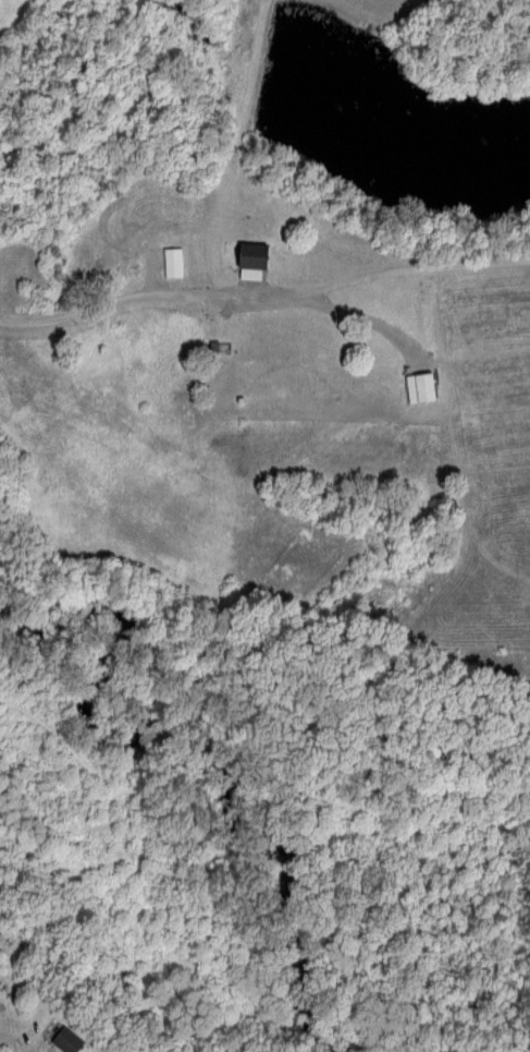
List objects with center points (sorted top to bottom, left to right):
building: (244, 259)
building: (168, 261)
road: (263, 294)
building: (415, 386)
building: (62, 1038)

